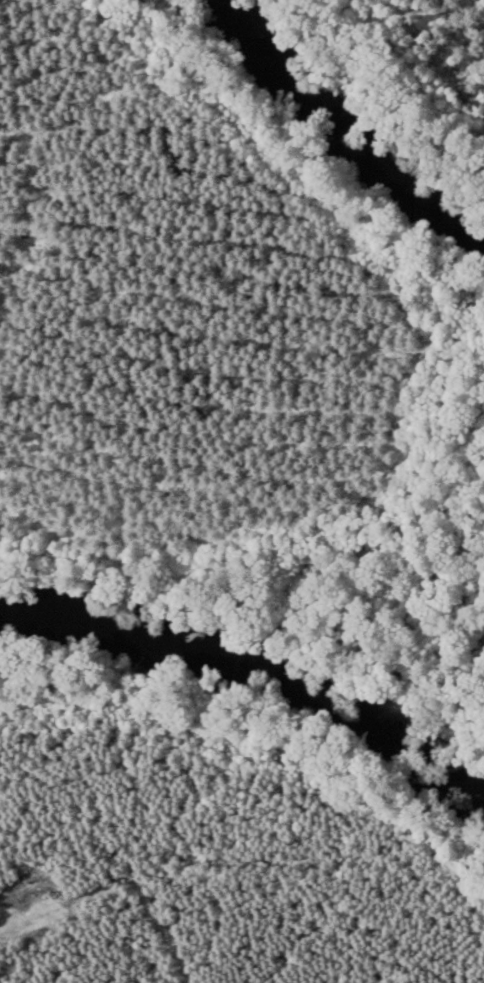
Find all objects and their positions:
river: (349, 129)
river: (255, 651)

